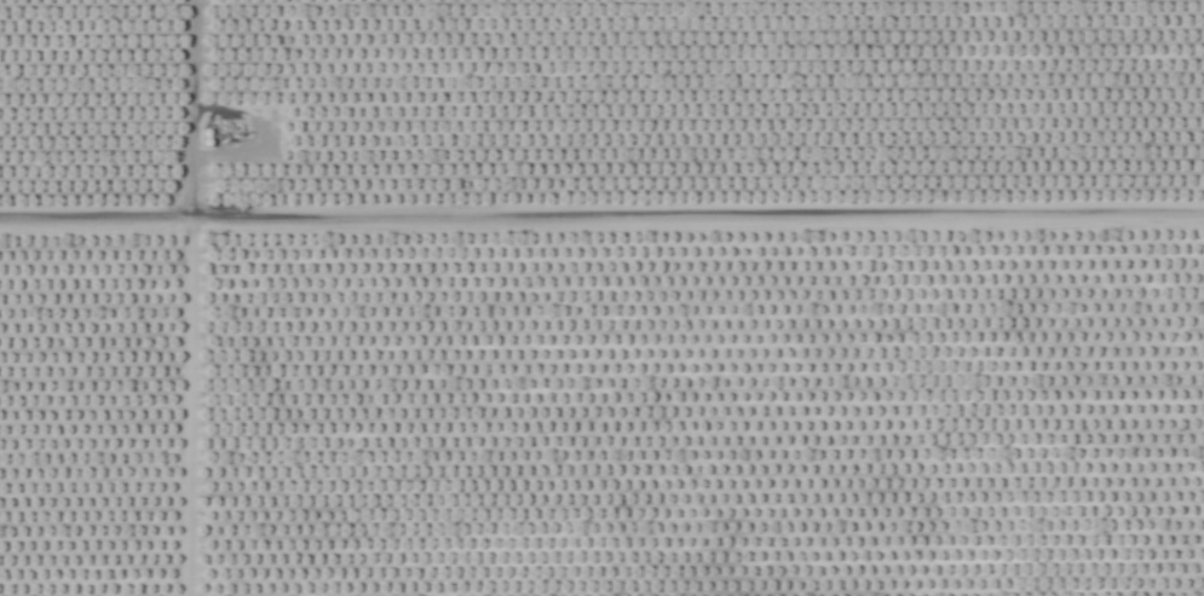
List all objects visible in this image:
road: (601, 221)
road: (182, 297)
crop: (601, 297)

